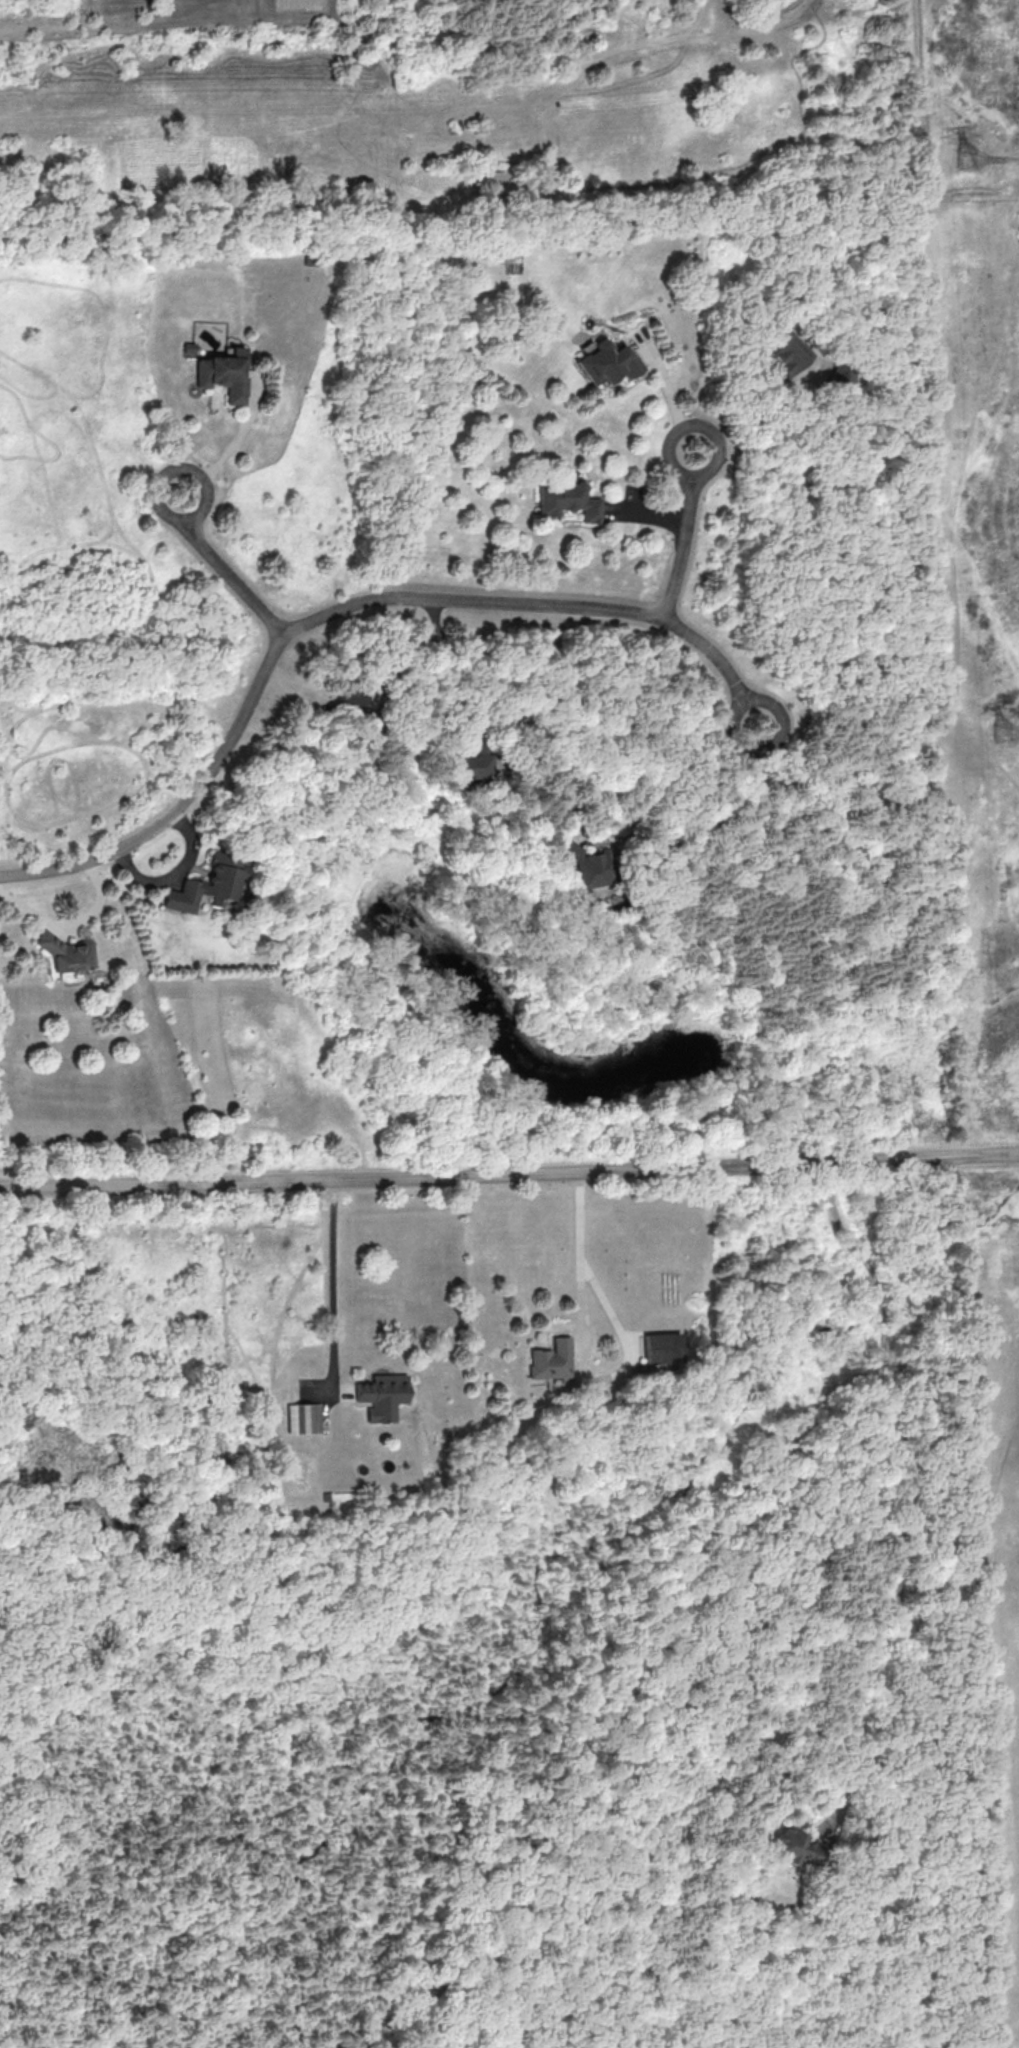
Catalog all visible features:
power tower: (970, 160)
building: (498, 178)
building: (786, 351)
building: (608, 362)
building: (225, 374)
building: (841, 378)
road: (668, 391)
road: (771, 435)
road: (231, 448)
building: (568, 500)
road: (685, 536)
road: (224, 570)
road: (347, 610)
road: (453, 668)
building: (350, 694)
road: (557, 716)
power tower: (1003, 732)
building: (471, 767)
building: (588, 864)
road: (176, 874)
building: (210, 884)
road: (69, 924)
building: (66, 952)
road: (509, 1175)
road: (850, 1237)
road: (579, 1263)
road: (336, 1281)
road: (884, 1313)
building: (666, 1347)
building: (553, 1358)
building: (381, 1394)
building: (304, 1417)
road: (903, 1577)
building: (797, 1847)

